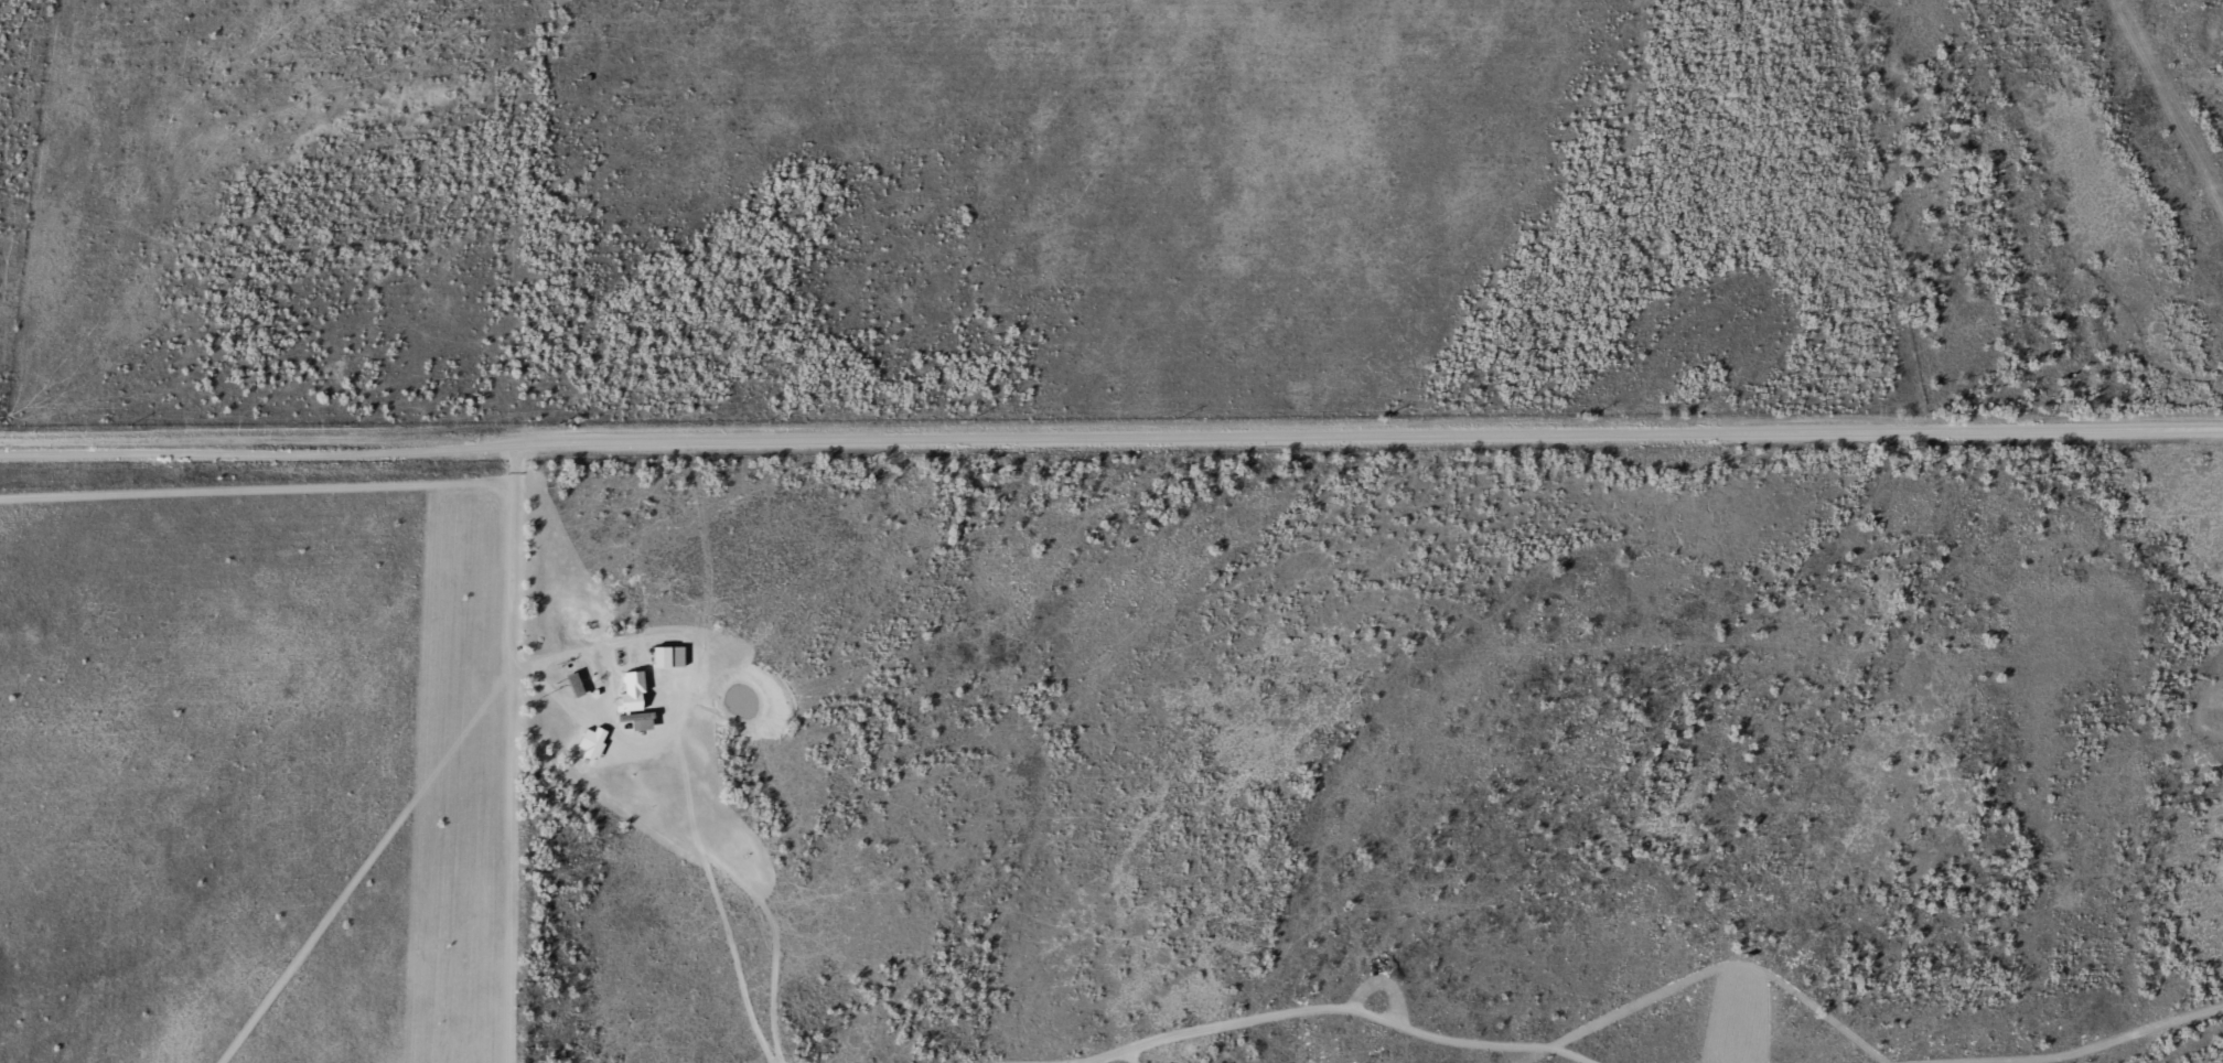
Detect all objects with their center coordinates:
road: (1111, 434)
road: (512, 658)
building: (668, 658)
building: (638, 722)

